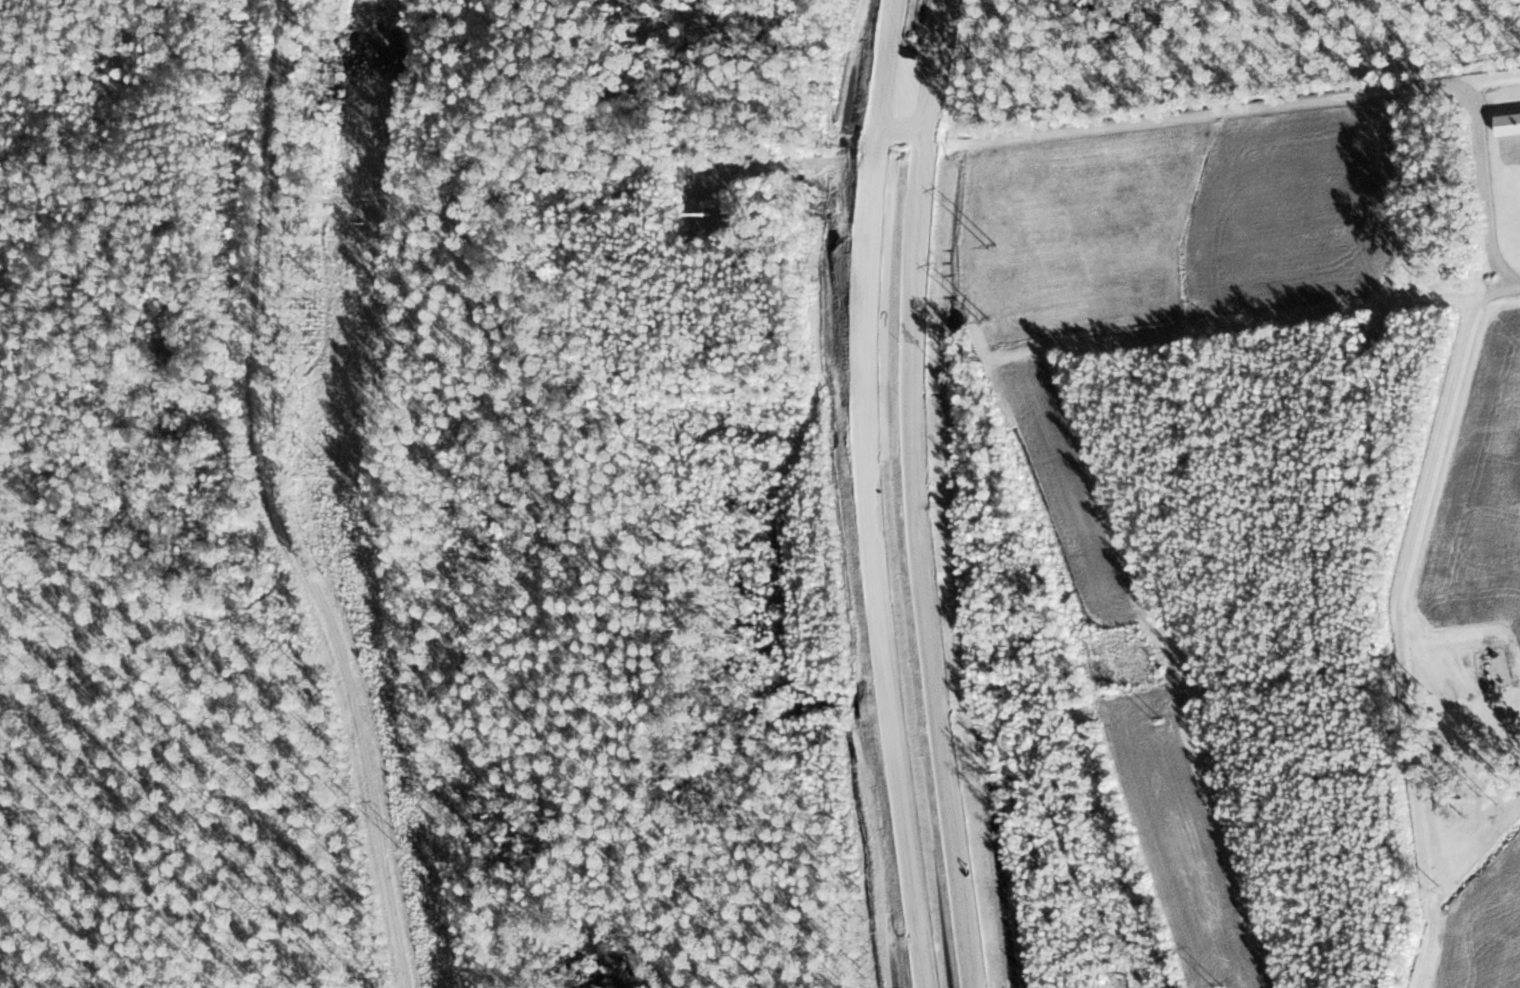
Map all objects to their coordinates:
power tower: (362, 222)
power tower: (956, 241)
power tower: (1003, 275)
power tower: (329, 467)
power tower: (1095, 638)
power tower: (1160, 720)
power tower: (410, 851)

